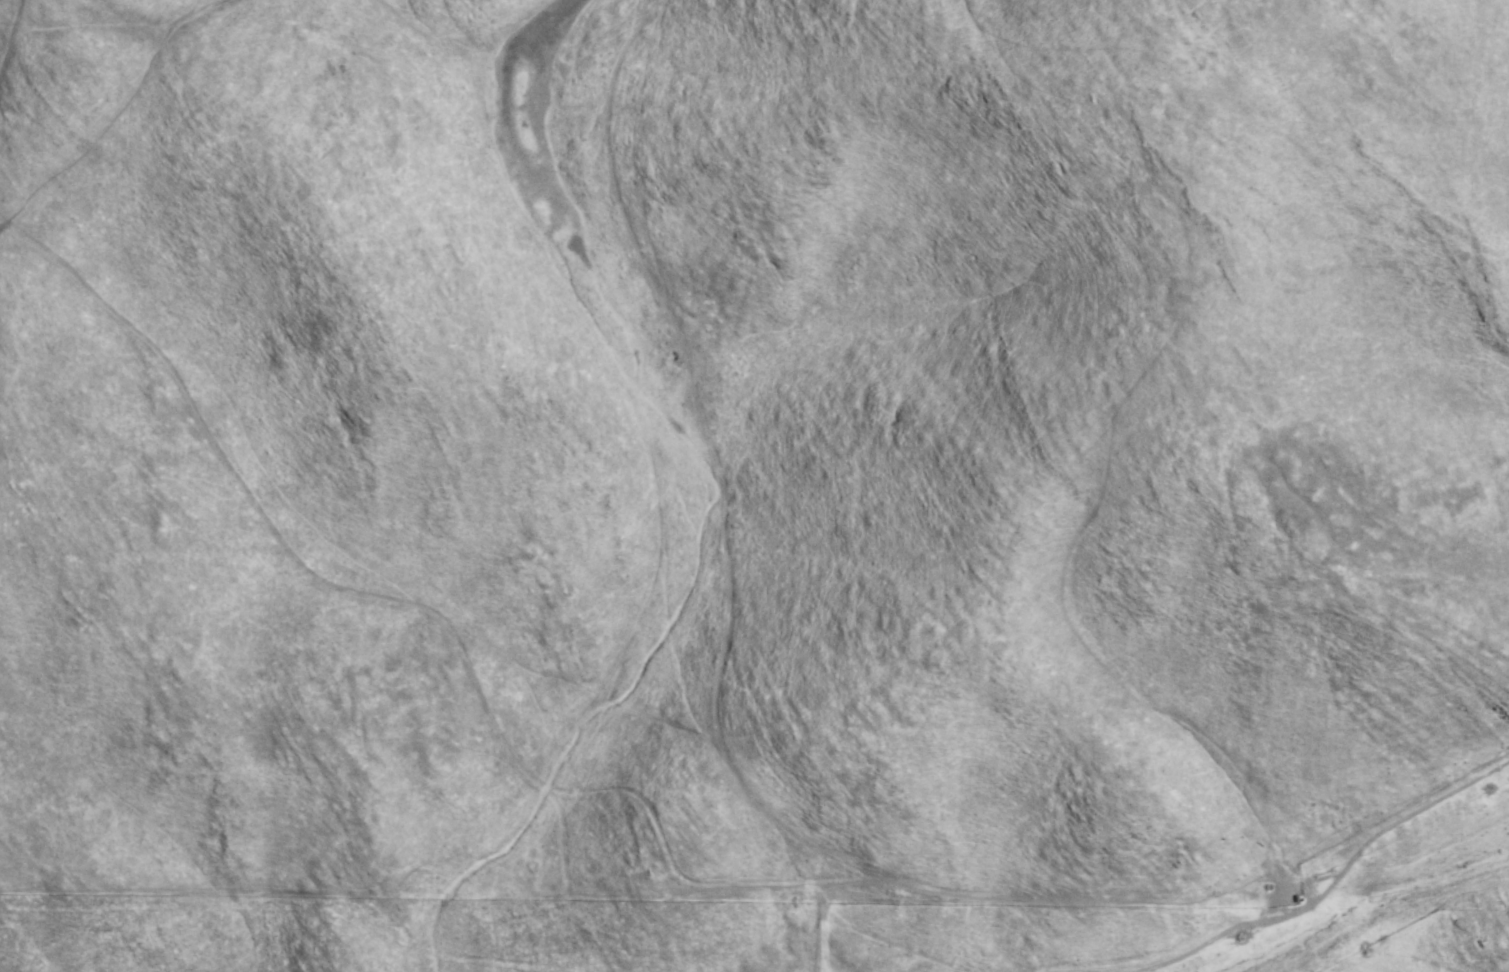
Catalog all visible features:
road: (1112, 939)

